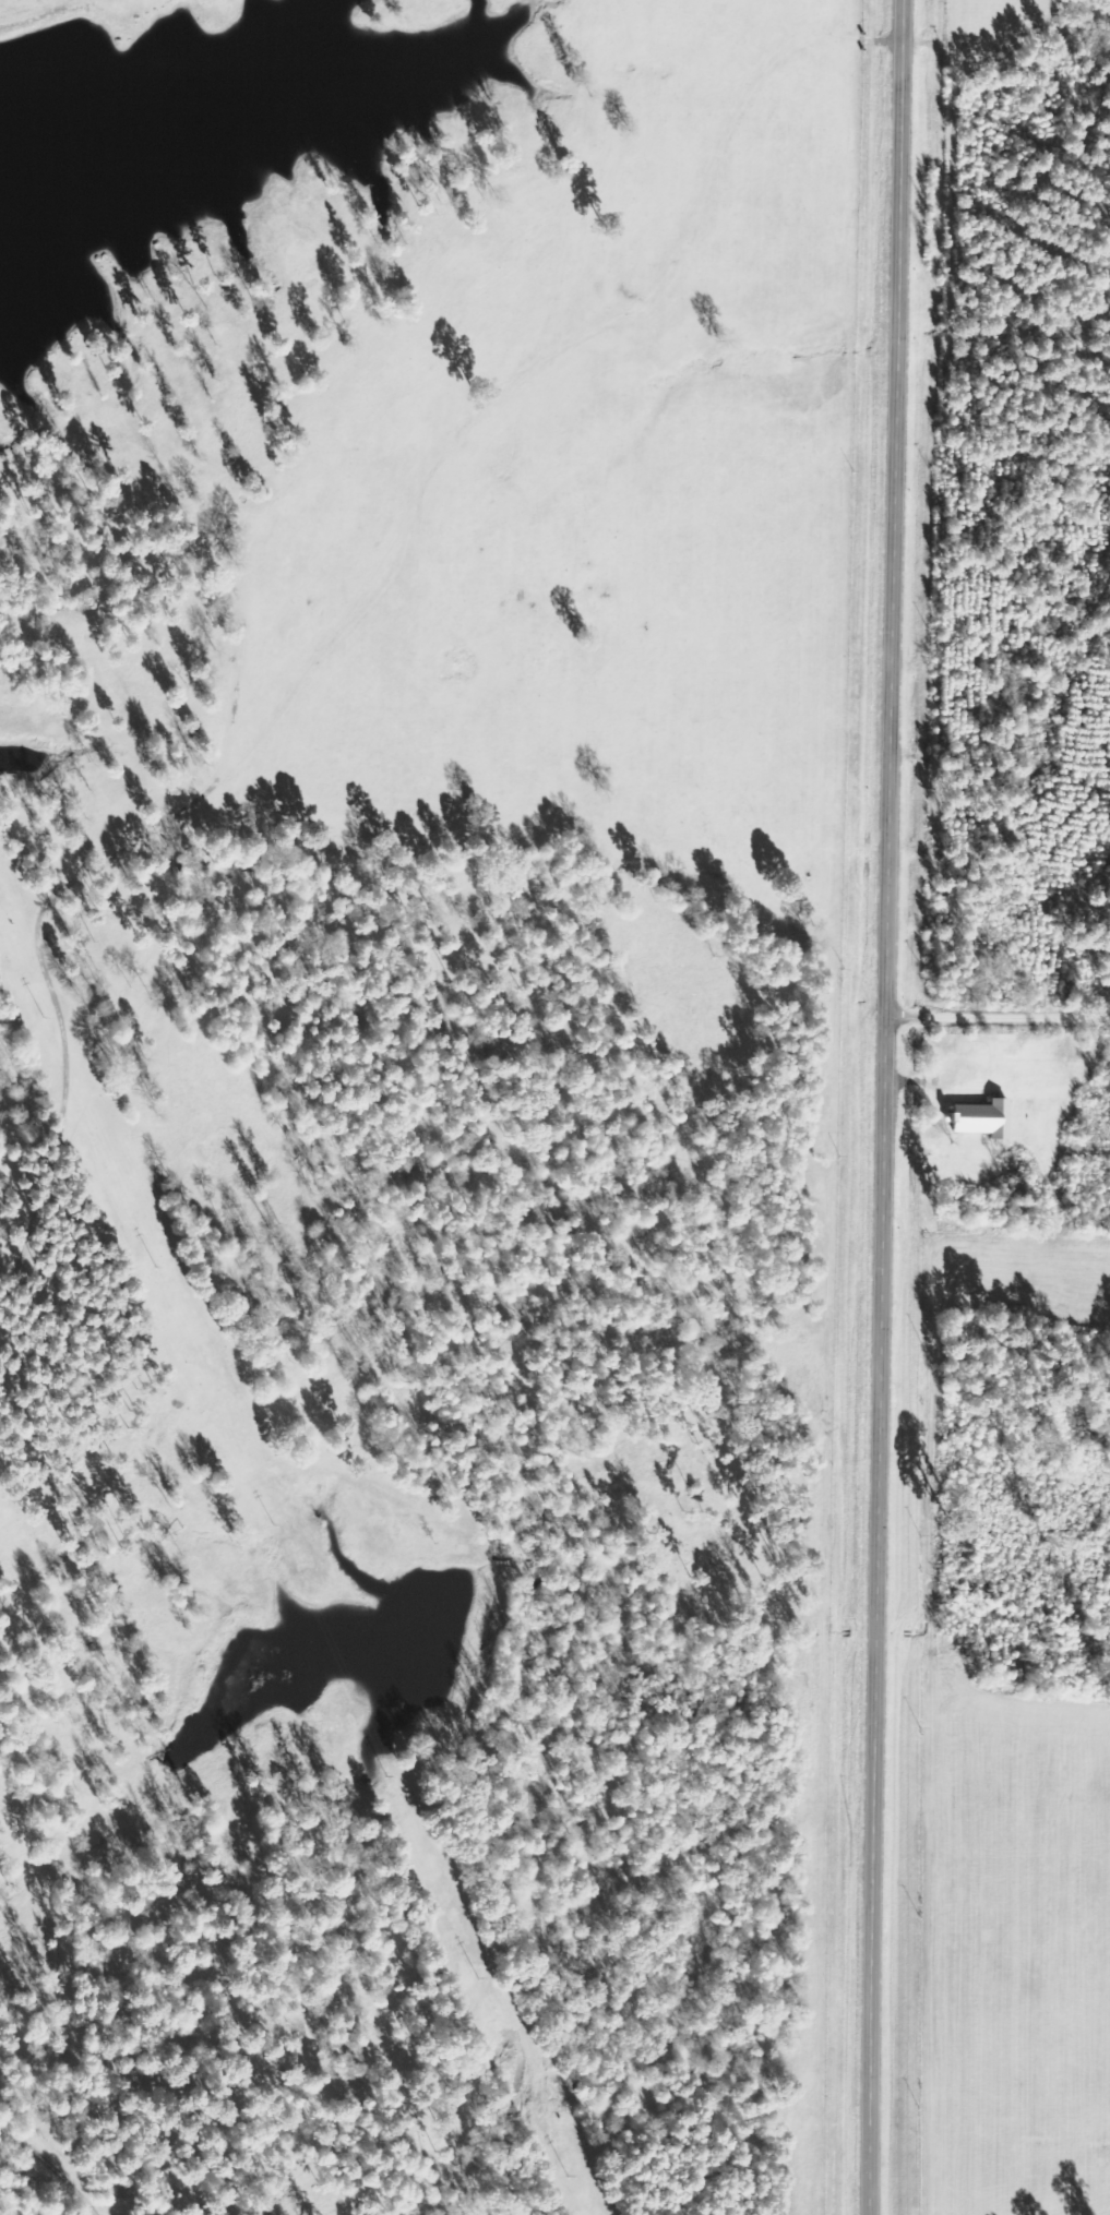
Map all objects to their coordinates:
road: (998, 1017)
road: (884, 1106)
building: (981, 1120)

